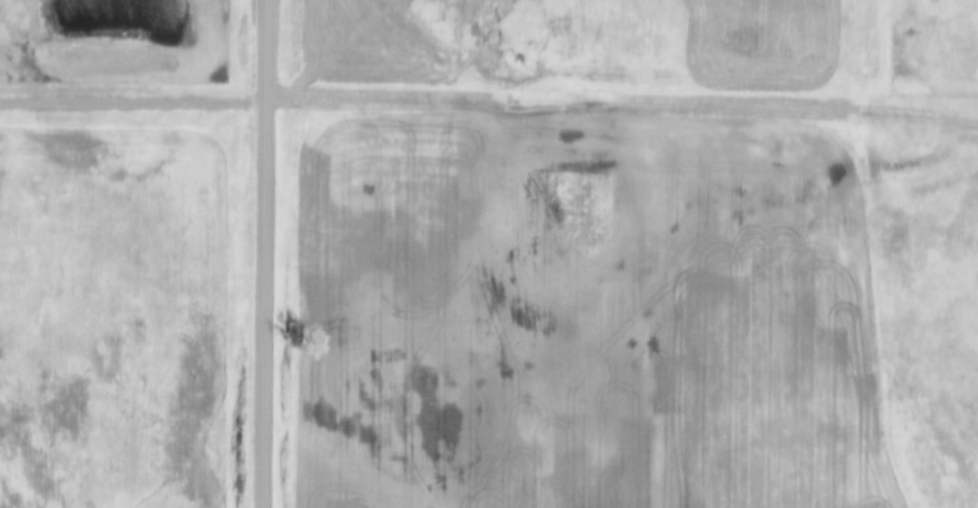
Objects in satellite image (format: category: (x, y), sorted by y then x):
road: (134, 105)
road: (268, 253)

